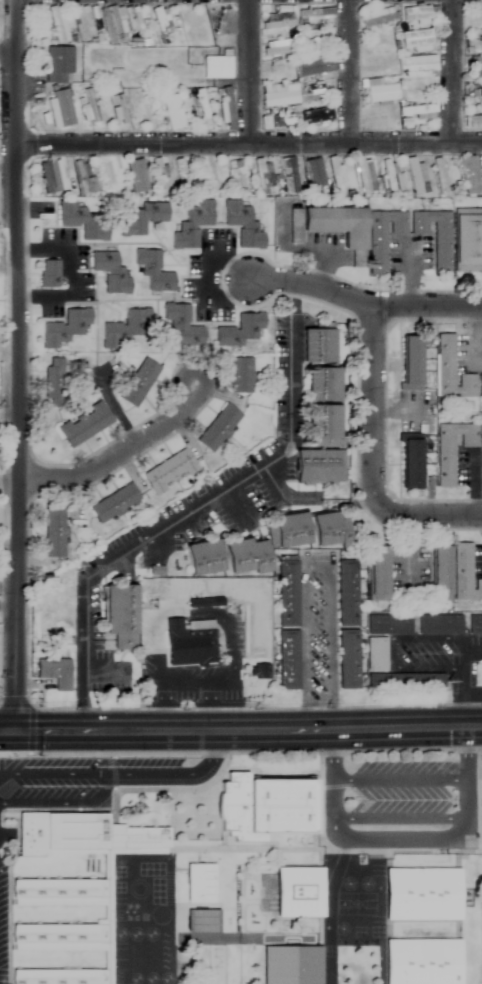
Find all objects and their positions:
building: (420, 14)
building: (315, 17)
building: (378, 18)
building: (473, 22)
building: (83, 23)
building: (57, 24)
building: (111, 25)
building: (135, 26)
building: (189, 26)
building: (317, 41)
building: (415, 41)
building: (473, 46)
building: (378, 47)
building: (276, 51)
road: (8, 63)
building: (58, 64)
building: (416, 64)
building: (216, 67)
building: (314, 67)
building: (475, 68)
road: (450, 71)
road: (245, 72)
road: (345, 72)
building: (317, 87)
building: (419, 87)
building: (381, 93)
building: (479, 95)
building: (277, 97)
building: (88, 105)
building: (59, 108)
building: (118, 109)
building: (202, 110)
building: (171, 112)
building: (149, 113)
building: (418, 113)
building: (315, 116)
building: (472, 121)
building: (277, 122)
road: (249, 144)
building: (311, 172)
building: (390, 174)
building: (105, 175)
building: (468, 175)
building: (136, 176)
building: (208, 176)
building: (335, 176)
building: (414, 176)
building: (439, 176)
building: (51, 177)
building: (81, 177)
building: (181, 177)
building: (235, 177)
building: (259, 177)
building: (292, 178)
building: (143, 218)
building: (84, 219)
building: (337, 221)
building: (194, 224)
building: (244, 224)
building: (383, 235)
building: (435, 235)
building: (469, 238)
building: (155, 268)
road: (8, 269)
building: (111, 271)
building: (50, 272)
road: (71, 274)
road: (204, 277)
road: (292, 295)
road: (361, 304)
building: (185, 325)
building: (68, 327)
building: (128, 327)
building: (239, 330)
building: (319, 344)
building: (411, 361)
road: (18, 366)
building: (453, 370)
building: (242, 375)
building: (140, 381)
building: (324, 383)
building: (54, 384)
building: (481, 385)
road: (371, 409)
road: (9, 412)
building: (324, 419)
building: (84, 424)
building: (221, 428)
building: (481, 436)
building: (453, 449)
road: (119, 453)
building: (411, 460)
building: (319, 465)
building: (170, 468)
road: (219, 492)
building: (115, 502)
road: (429, 514)
building: (291, 528)
building: (329, 529)
building: (60, 538)
building: (246, 556)
building: (204, 557)
road: (317, 563)
building: (378, 575)
building: (442, 575)
building: (466, 575)
road: (9, 591)
building: (292, 593)
building: (349, 593)
road: (9, 608)
building: (121, 615)
building: (45, 622)
building: (390, 626)
building: (441, 626)
building: (476, 626)
building: (202, 640)
road: (463, 648)
building: (377, 655)
road: (391, 655)
building: (349, 659)
building: (292, 660)
building: (52, 672)
building: (481, 677)
road: (211, 680)
building: (407, 683)
road: (464, 683)
road: (81, 685)
road: (163, 695)
road: (241, 732)
road: (131, 779)
road: (5, 780)
road: (399, 781)
road: (61, 807)
building: (303, 836)
road: (395, 843)
building: (84, 865)
building: (97, 881)
building: (212, 881)
building: (302, 891)
building: (426, 892)
building: (426, 960)
building: (292, 966)

